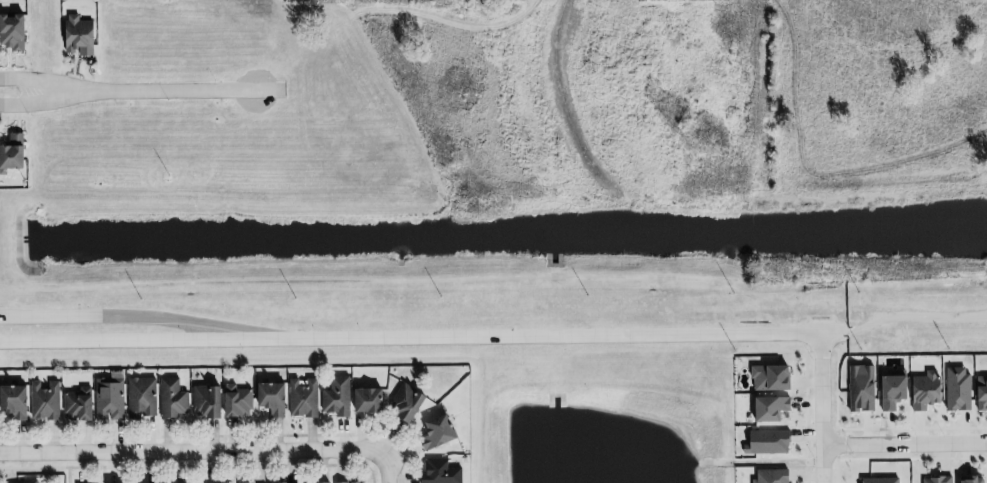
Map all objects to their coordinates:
building: (11, 31)
building: (77, 35)
road: (36, 82)
road: (179, 90)
road: (770, 92)
road: (37, 103)
building: (11, 152)
road: (881, 173)
road: (150, 315)
road: (901, 318)
road: (559, 335)
road: (150, 340)
building: (769, 378)
building: (860, 388)
building: (957, 388)
building: (924, 391)
building: (890, 392)
building: (981, 393)
building: (110, 399)
building: (142, 399)
building: (338, 399)
building: (173, 400)
building: (304, 400)
building: (273, 401)
building: (45, 402)
building: (207, 402)
building: (238, 402)
building: (369, 402)
building: (14, 403)
building: (408, 404)
building: (79, 406)
road: (819, 408)
building: (768, 409)
building: (438, 435)
road: (903, 442)
building: (770, 443)
road: (192, 452)
road: (385, 467)
building: (441, 472)
building: (771, 476)
building: (879, 480)
building: (936, 480)
building: (972, 480)
building: (33, 482)
building: (345, 482)

